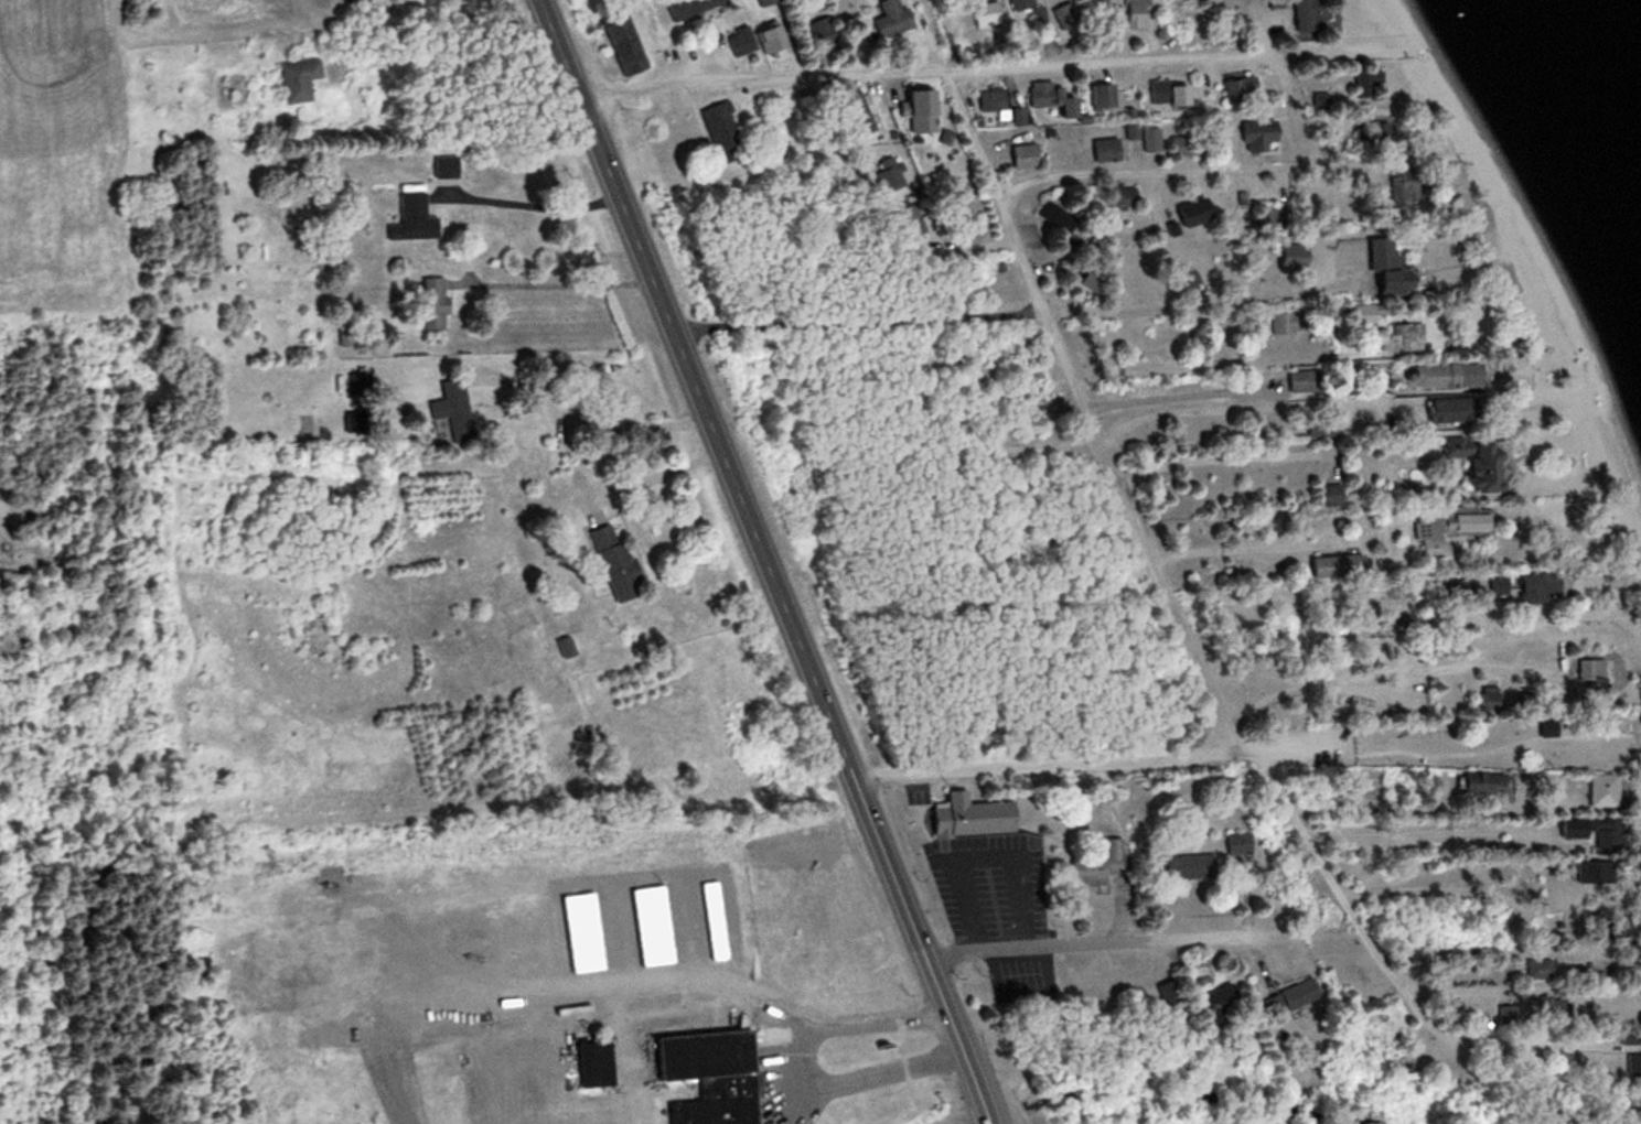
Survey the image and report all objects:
building: (762, 2)
building: (1018, 4)
building: (687, 8)
building: (982, 17)
building: (1120, 17)
building: (1304, 17)
building: (889, 20)
building: (1063, 20)
building: (822, 33)
building: (754, 43)
building: (619, 46)
road: (969, 68)
building: (291, 83)
building: (1364, 84)
building: (1235, 90)
building: (1168, 98)
building: (1098, 99)
building: (1047, 100)
building: (991, 105)
building: (916, 112)
building: (855, 115)
building: (1017, 118)
building: (719, 133)
road: (1244, 136)
building: (1375, 136)
building: (1254, 137)
building: (1148, 142)
building: (1104, 152)
building: (1020, 158)
road: (820, 177)
building: (887, 179)
building: (1397, 188)
building: (1117, 198)
building: (1190, 214)
building: (410, 219)
building: (1053, 219)
building: (1376, 220)
building: (908, 223)
building: (1285, 258)
building: (1380, 271)
building: (1186, 282)
building: (430, 305)
building: (1359, 320)
building: (1283, 324)
building: (1396, 339)
road: (1258, 374)
building: (1434, 378)
building: (1300, 385)
building: (450, 412)
building: (1440, 413)
road: (1083, 429)
building: (1319, 431)
building: (1470, 465)
building: (1330, 498)
building: (1446, 530)
road: (1059, 542)
road: (766, 562)
building: (611, 565)
building: (1334, 570)
building: (1533, 587)
building: (1459, 590)
building: (561, 649)
building: (1584, 669)
building: (1482, 698)
road: (1341, 722)
road: (1043, 760)
building: (1472, 783)
building: (1598, 790)
building: (968, 818)
building: (1588, 832)
building: (1235, 844)
building: (1094, 866)
building: (1189, 867)
building: (1590, 872)
road: (1347, 920)
road: (1107, 944)
building: (1535, 969)
building: (1632, 973)
building: (1168, 993)
building: (1297, 994)
building: (1218, 1001)
building: (1547, 1009)
building: (1504, 1014)
building: (591, 1066)
building: (1631, 1067)
building: (705, 1076)

